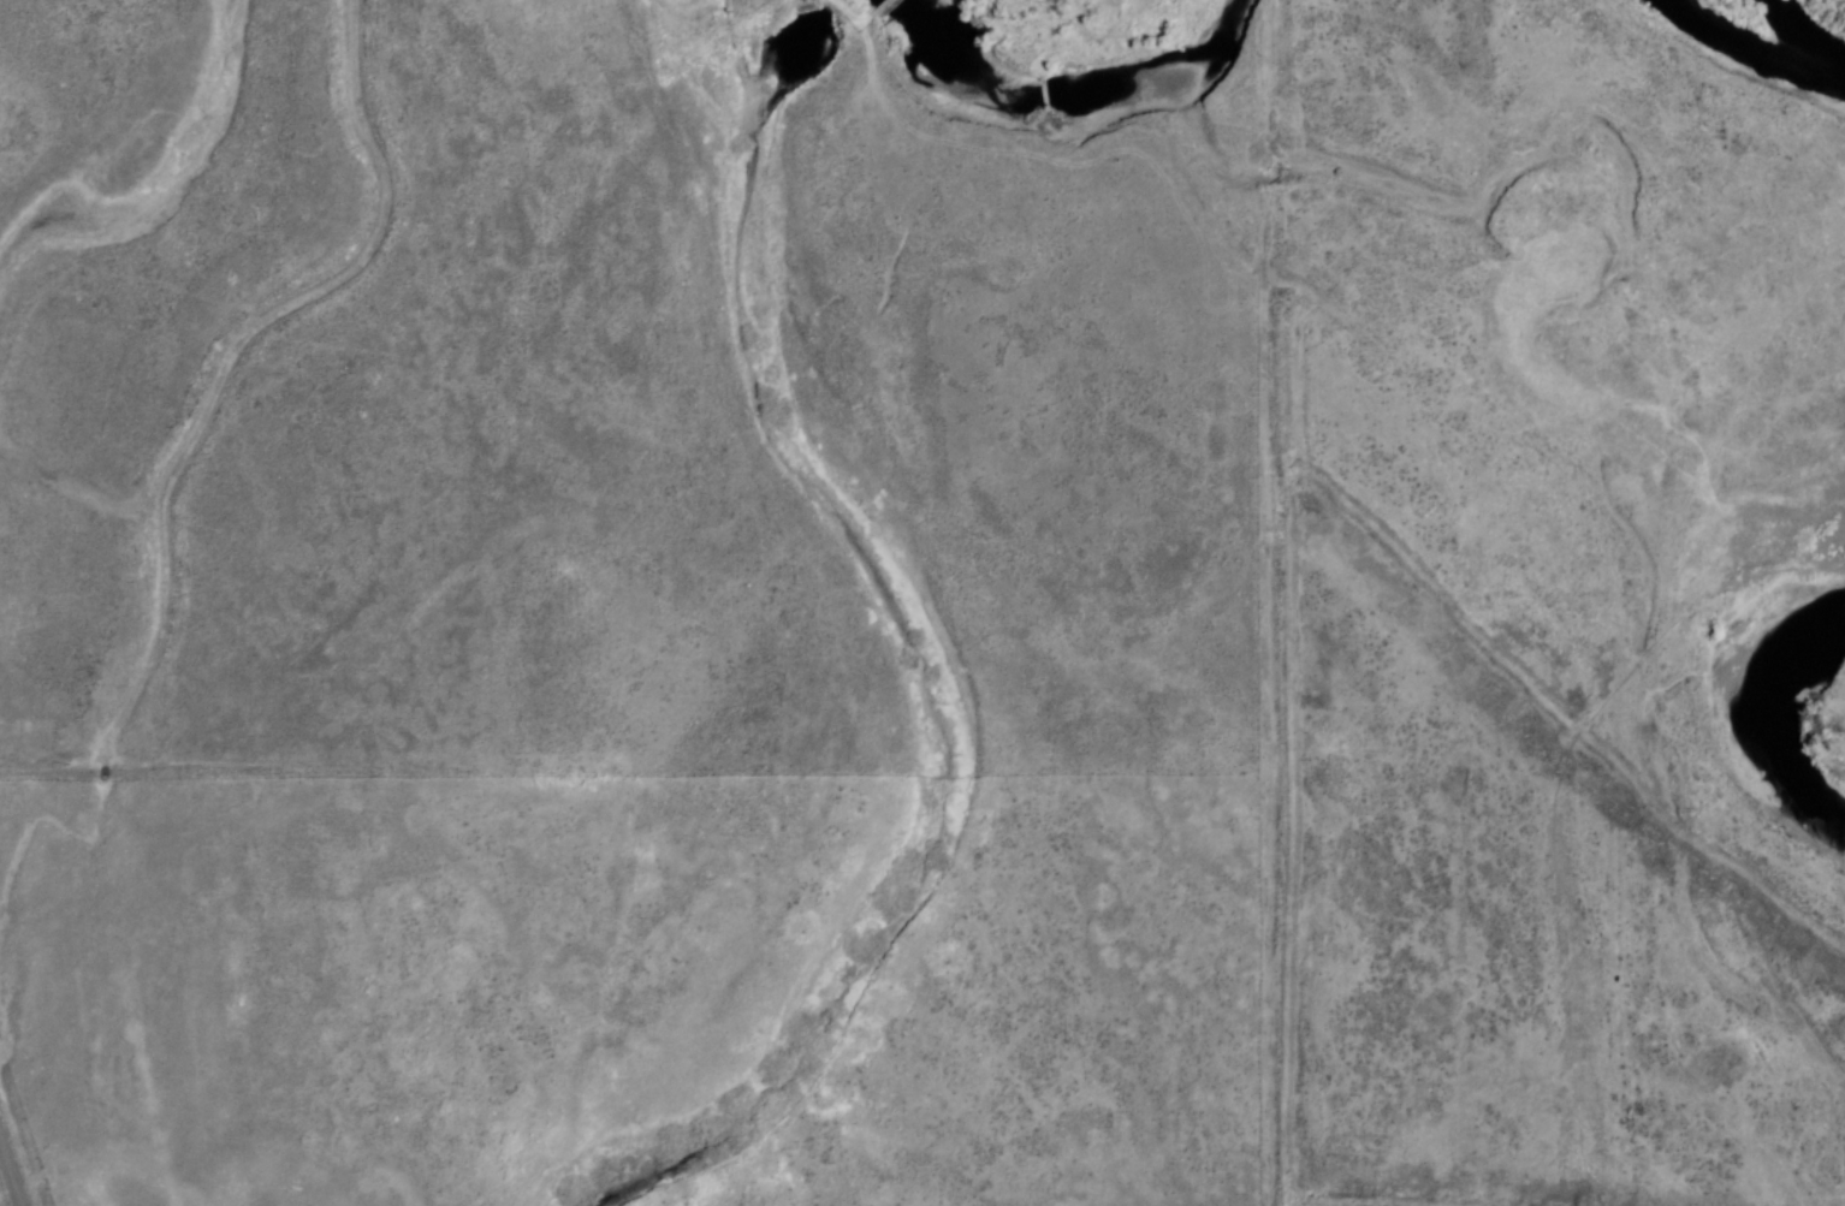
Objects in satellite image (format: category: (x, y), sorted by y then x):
road: (894, 8)
road: (862, 12)
river: (1758, 42)
river: (1086, 126)
road: (1058, 178)
river: (1790, 691)
road: (14, 1160)

